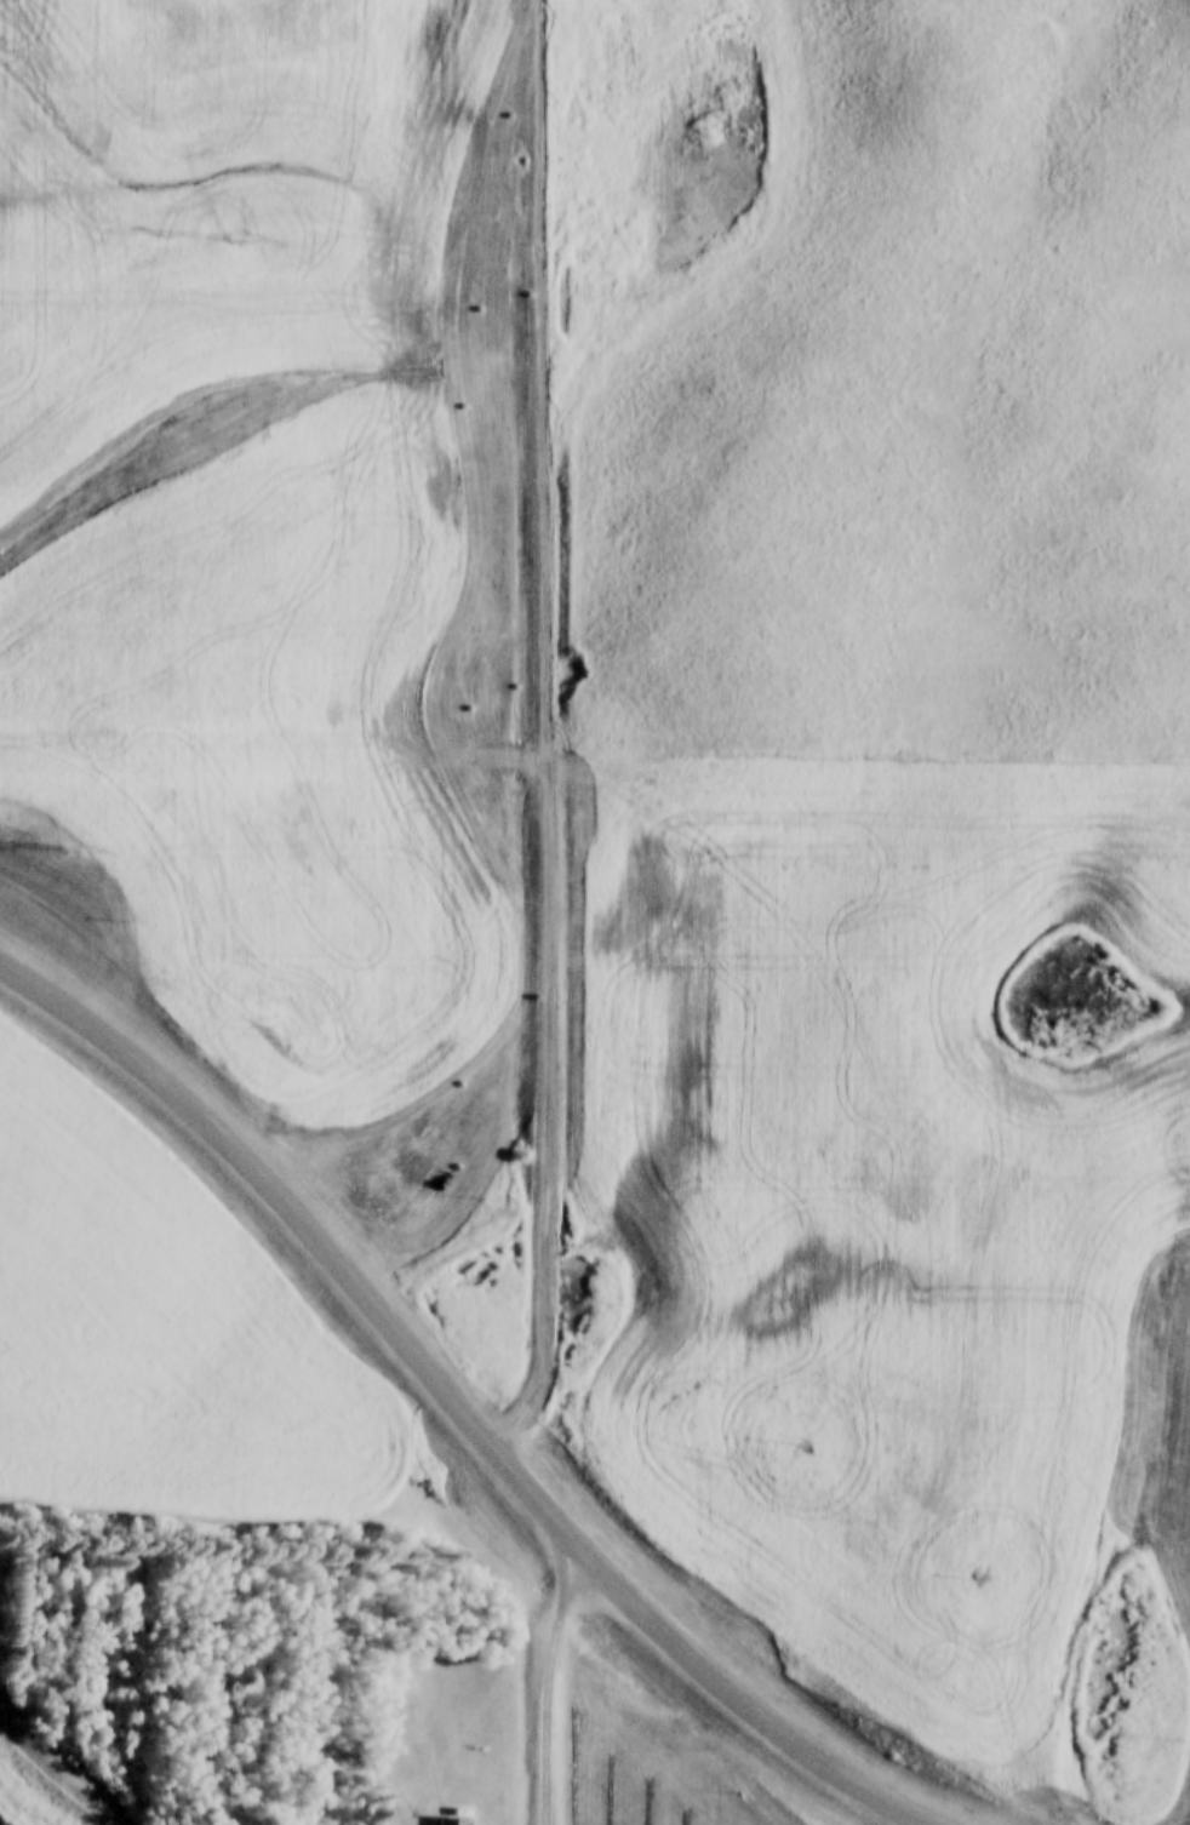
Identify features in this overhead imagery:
power tower: (239, 238)
road: (547, 731)
power tower: (79, 843)
road: (458, 1403)
road: (547, 1684)
building: (462, 1818)

